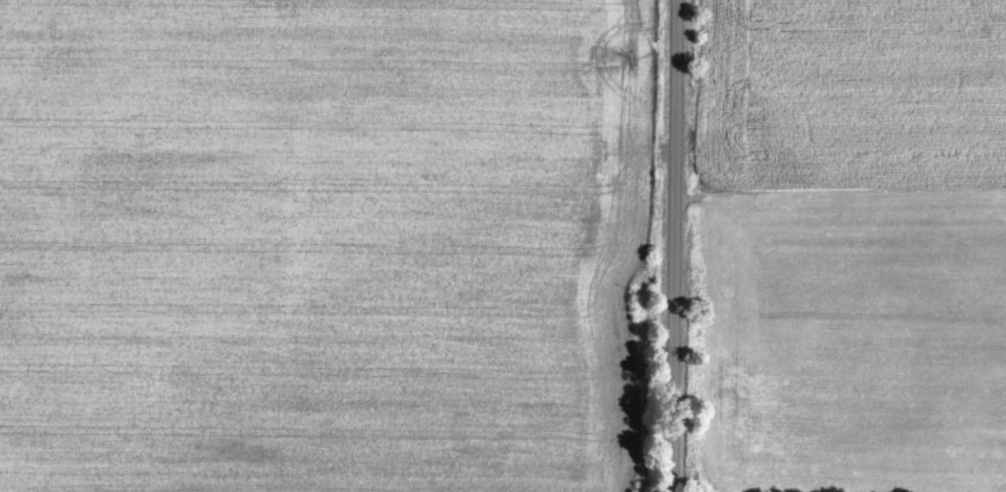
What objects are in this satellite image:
road: (677, 246)

